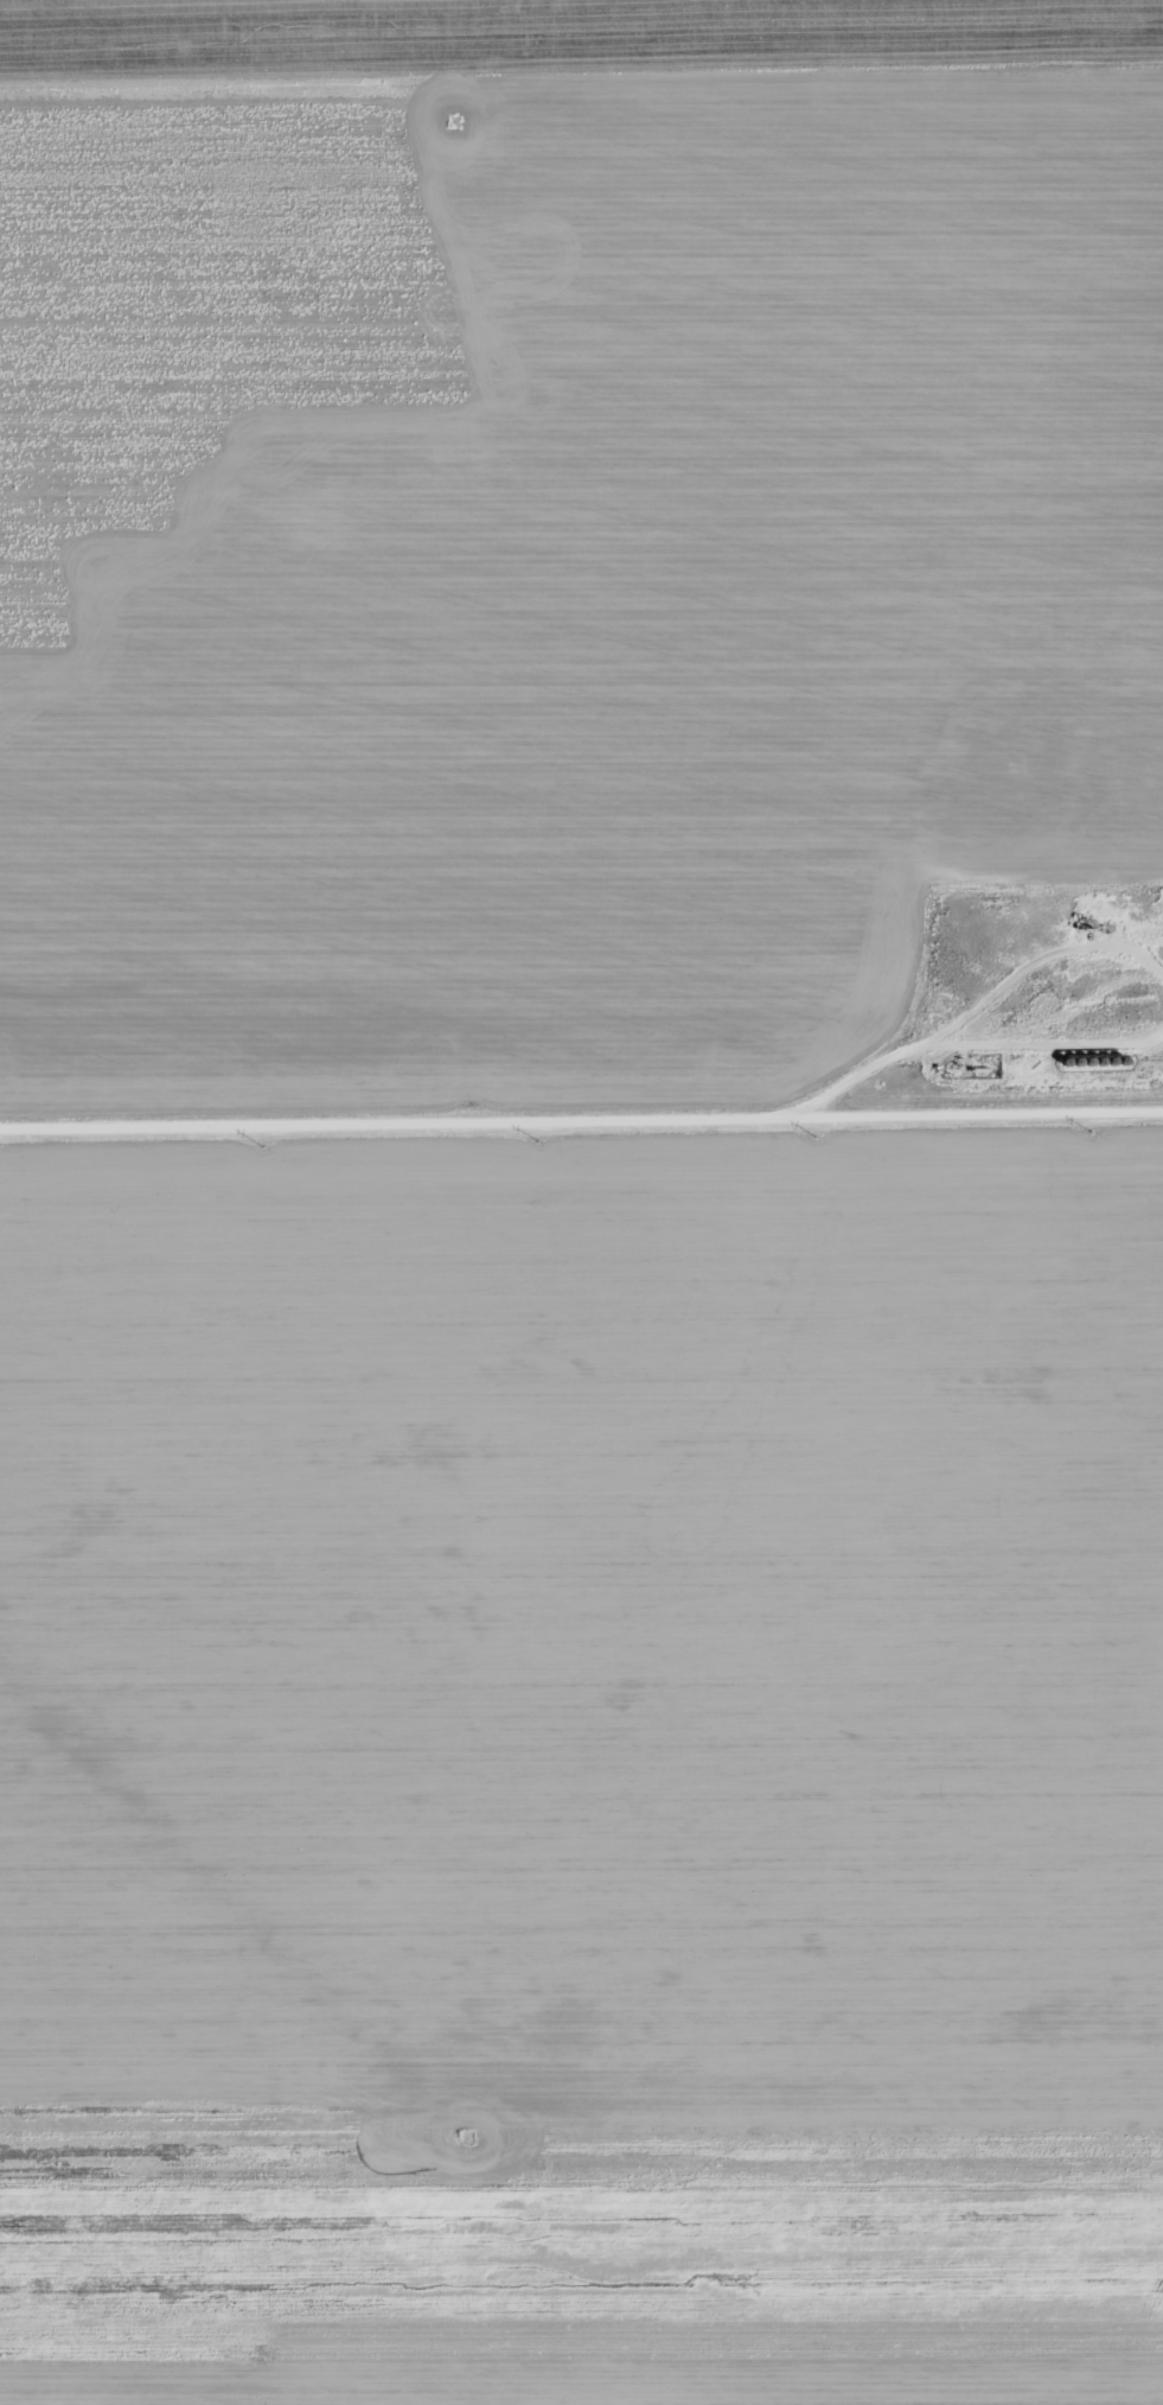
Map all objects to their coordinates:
road: (581, 1116)

